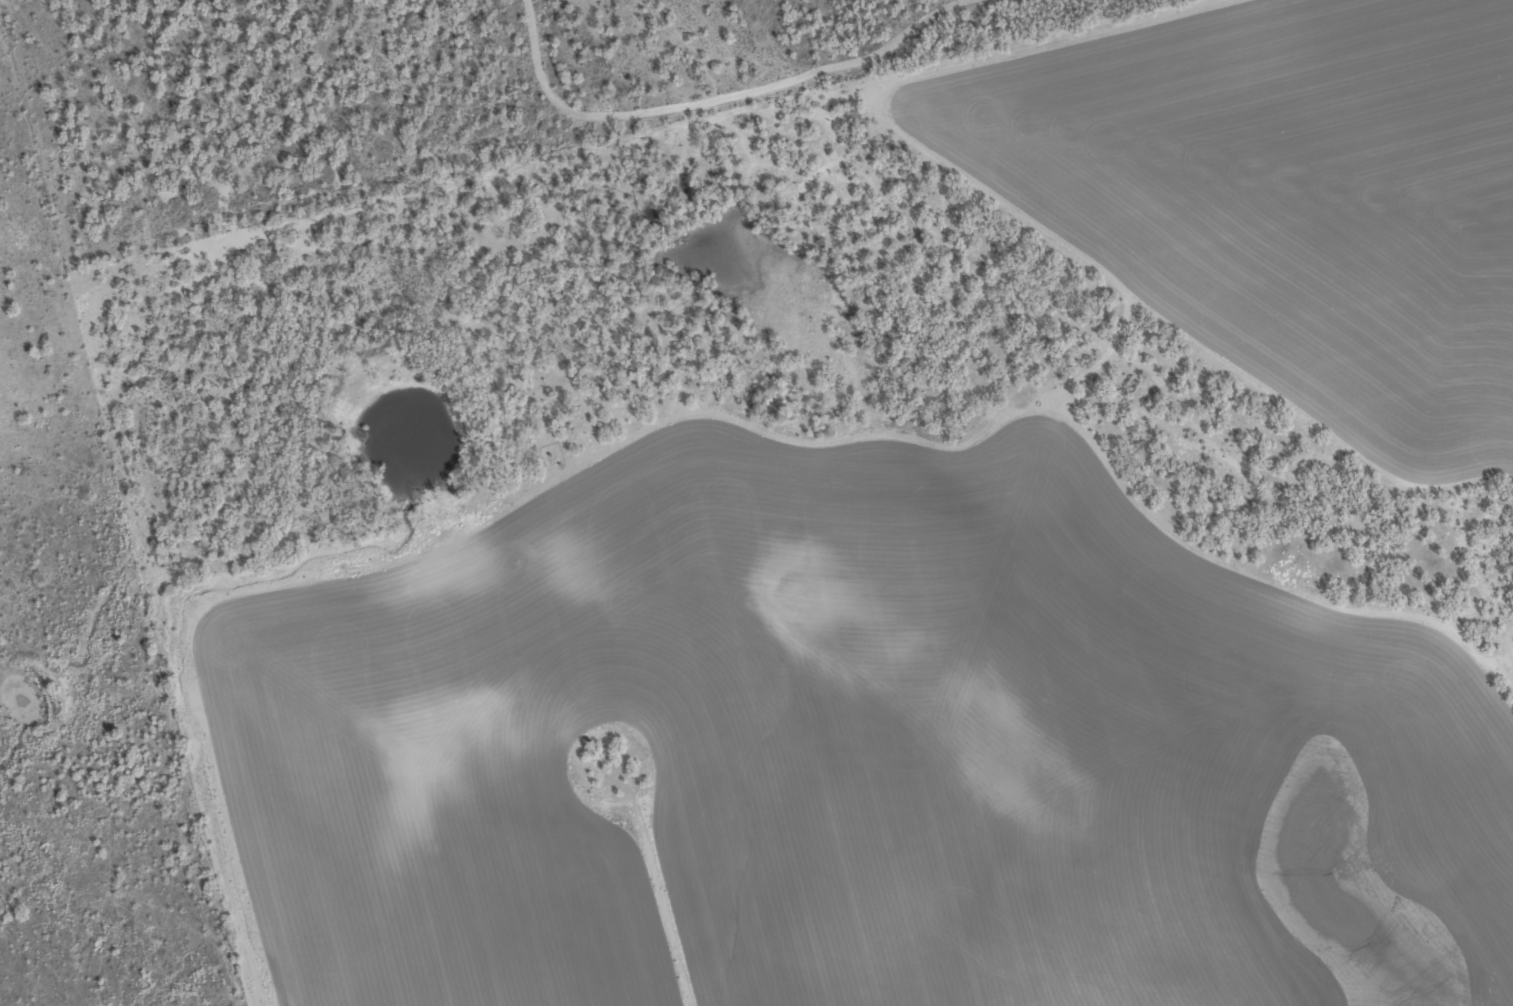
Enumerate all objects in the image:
road: (1506, 679)

